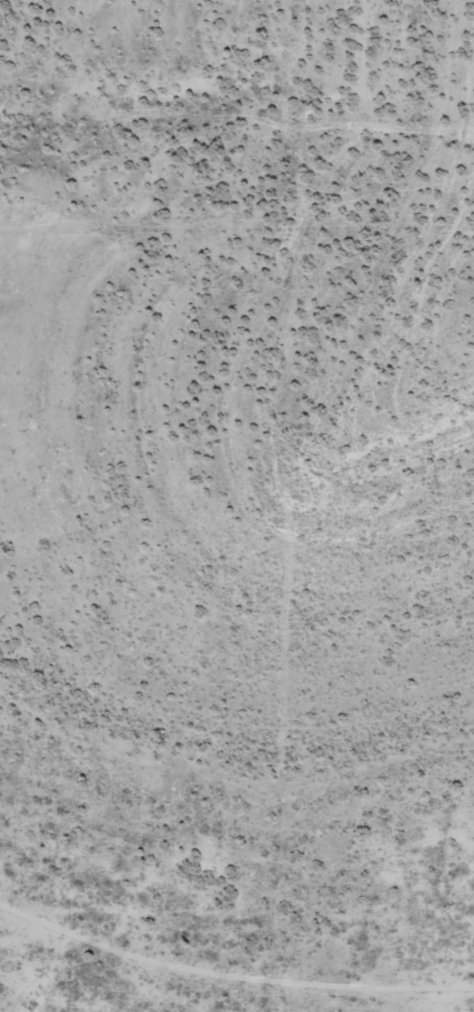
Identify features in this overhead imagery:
road: (153, 936)

